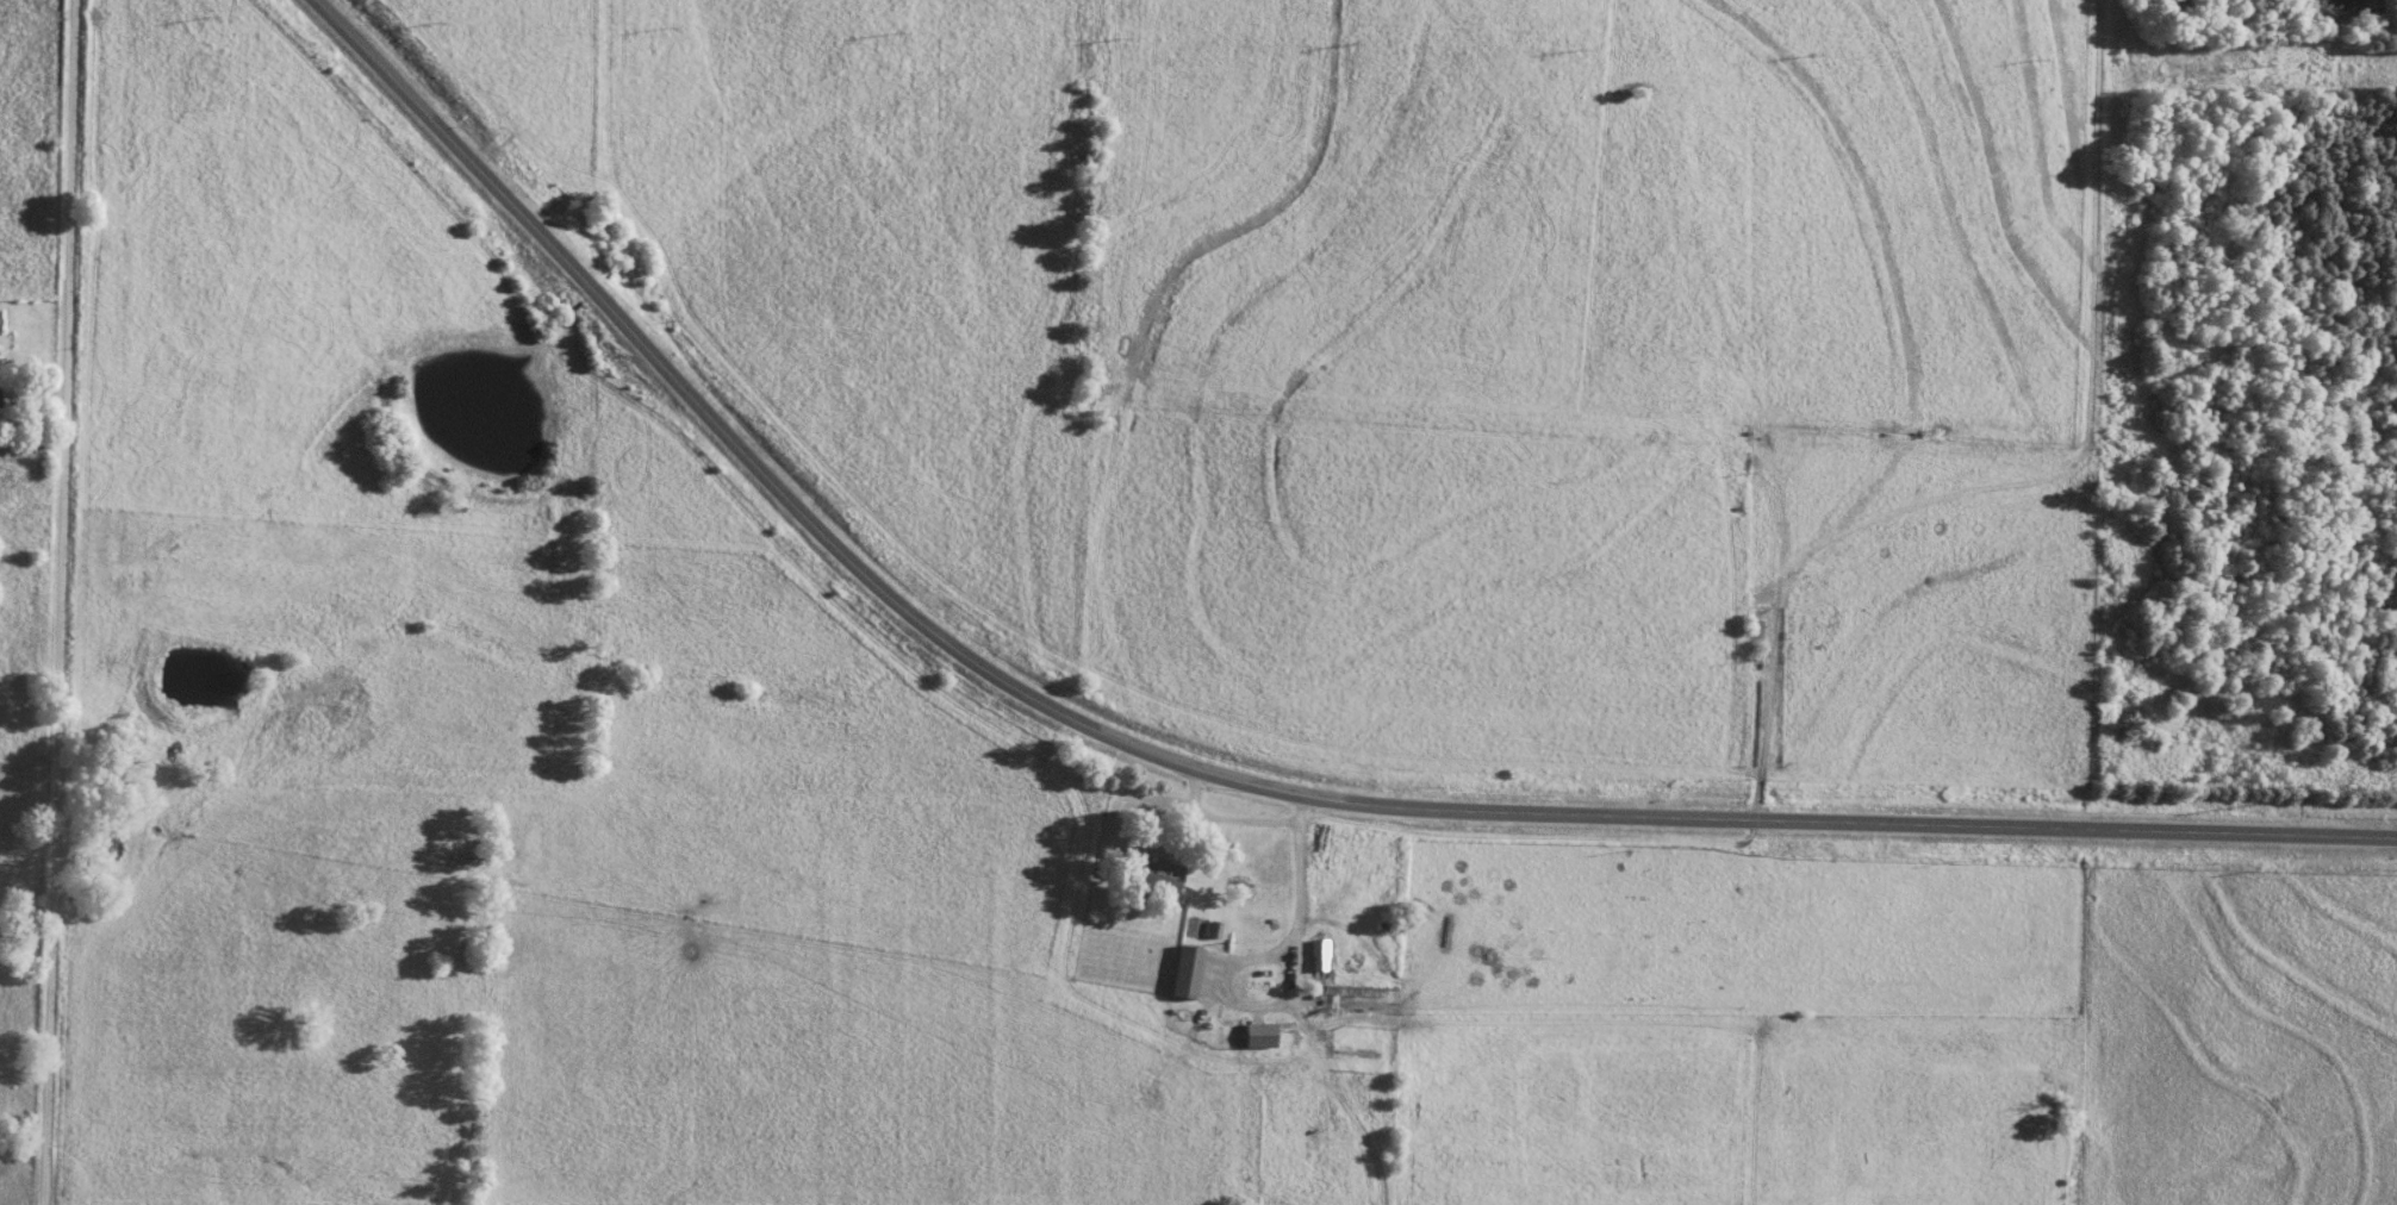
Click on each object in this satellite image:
building: (2, 395)
road: (64, 602)
road: (1206, 775)
road: (1229, 822)
building: (1147, 878)
road: (1303, 884)
building: (1315, 955)
building: (1181, 973)
building: (1257, 1045)

